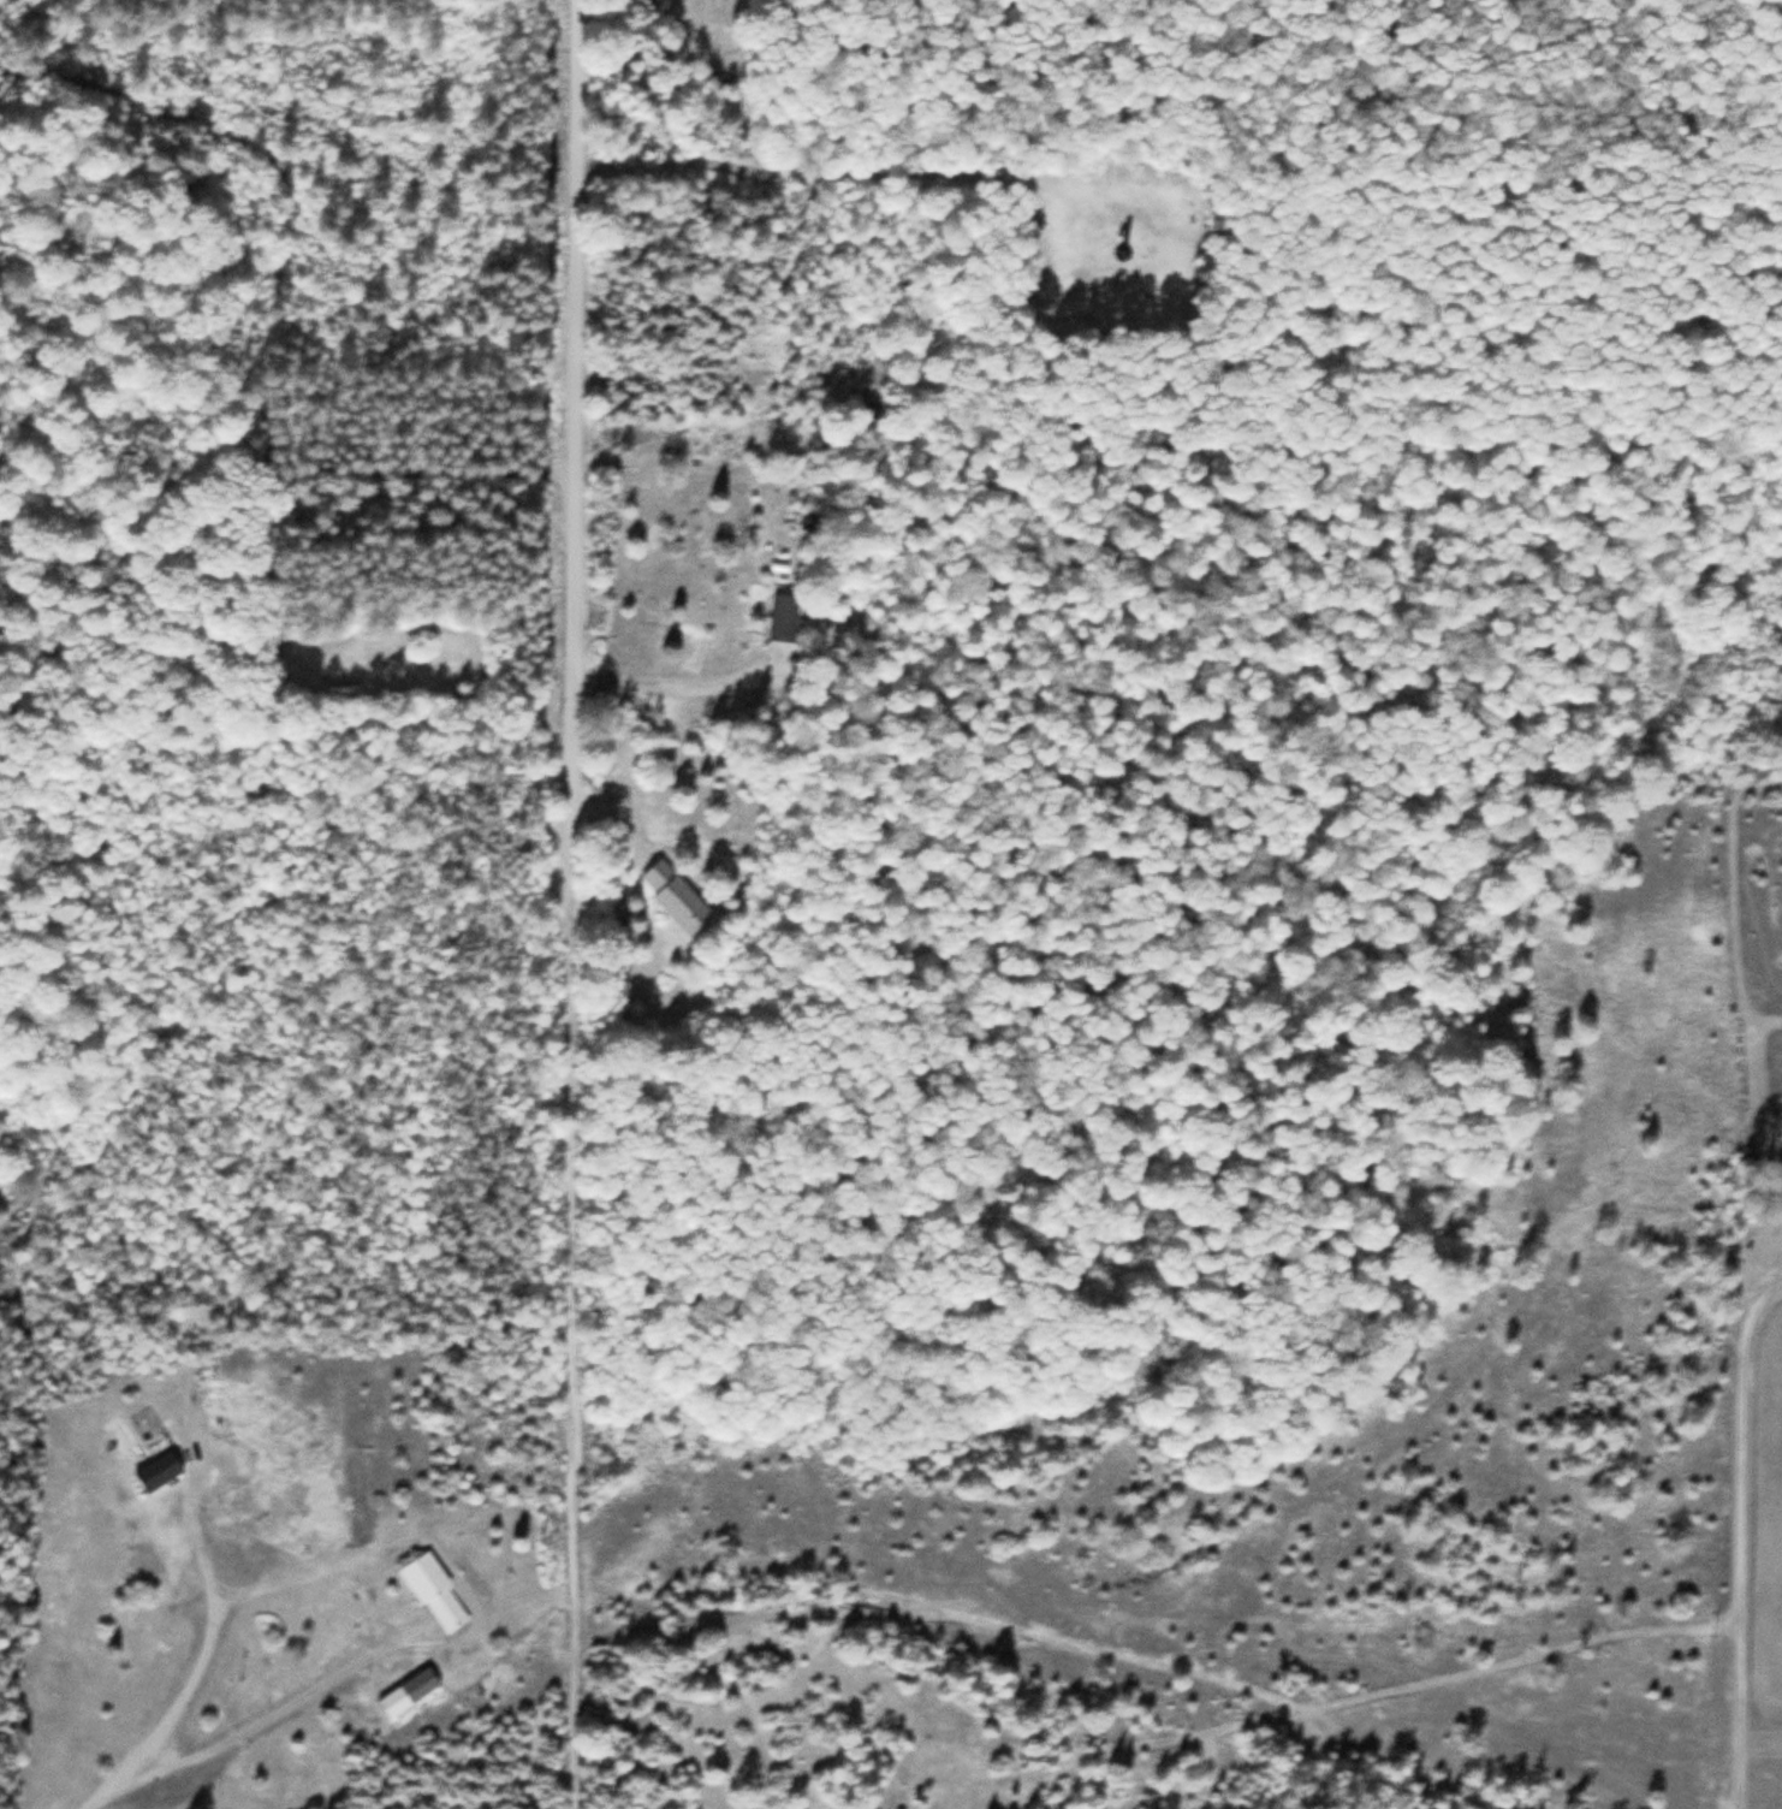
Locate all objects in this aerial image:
building: (783, 618)
building: (675, 897)
road: (575, 903)
building: (158, 1471)
road: (1738, 1535)
building: (434, 1592)
road: (214, 1620)
building: (408, 1694)
road: (278, 1707)

